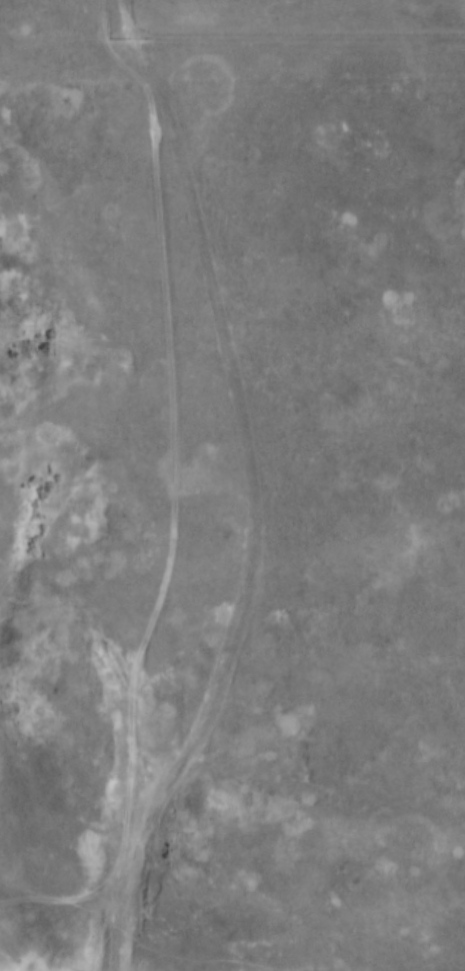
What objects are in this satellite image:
road: (298, 40)
road: (172, 499)

